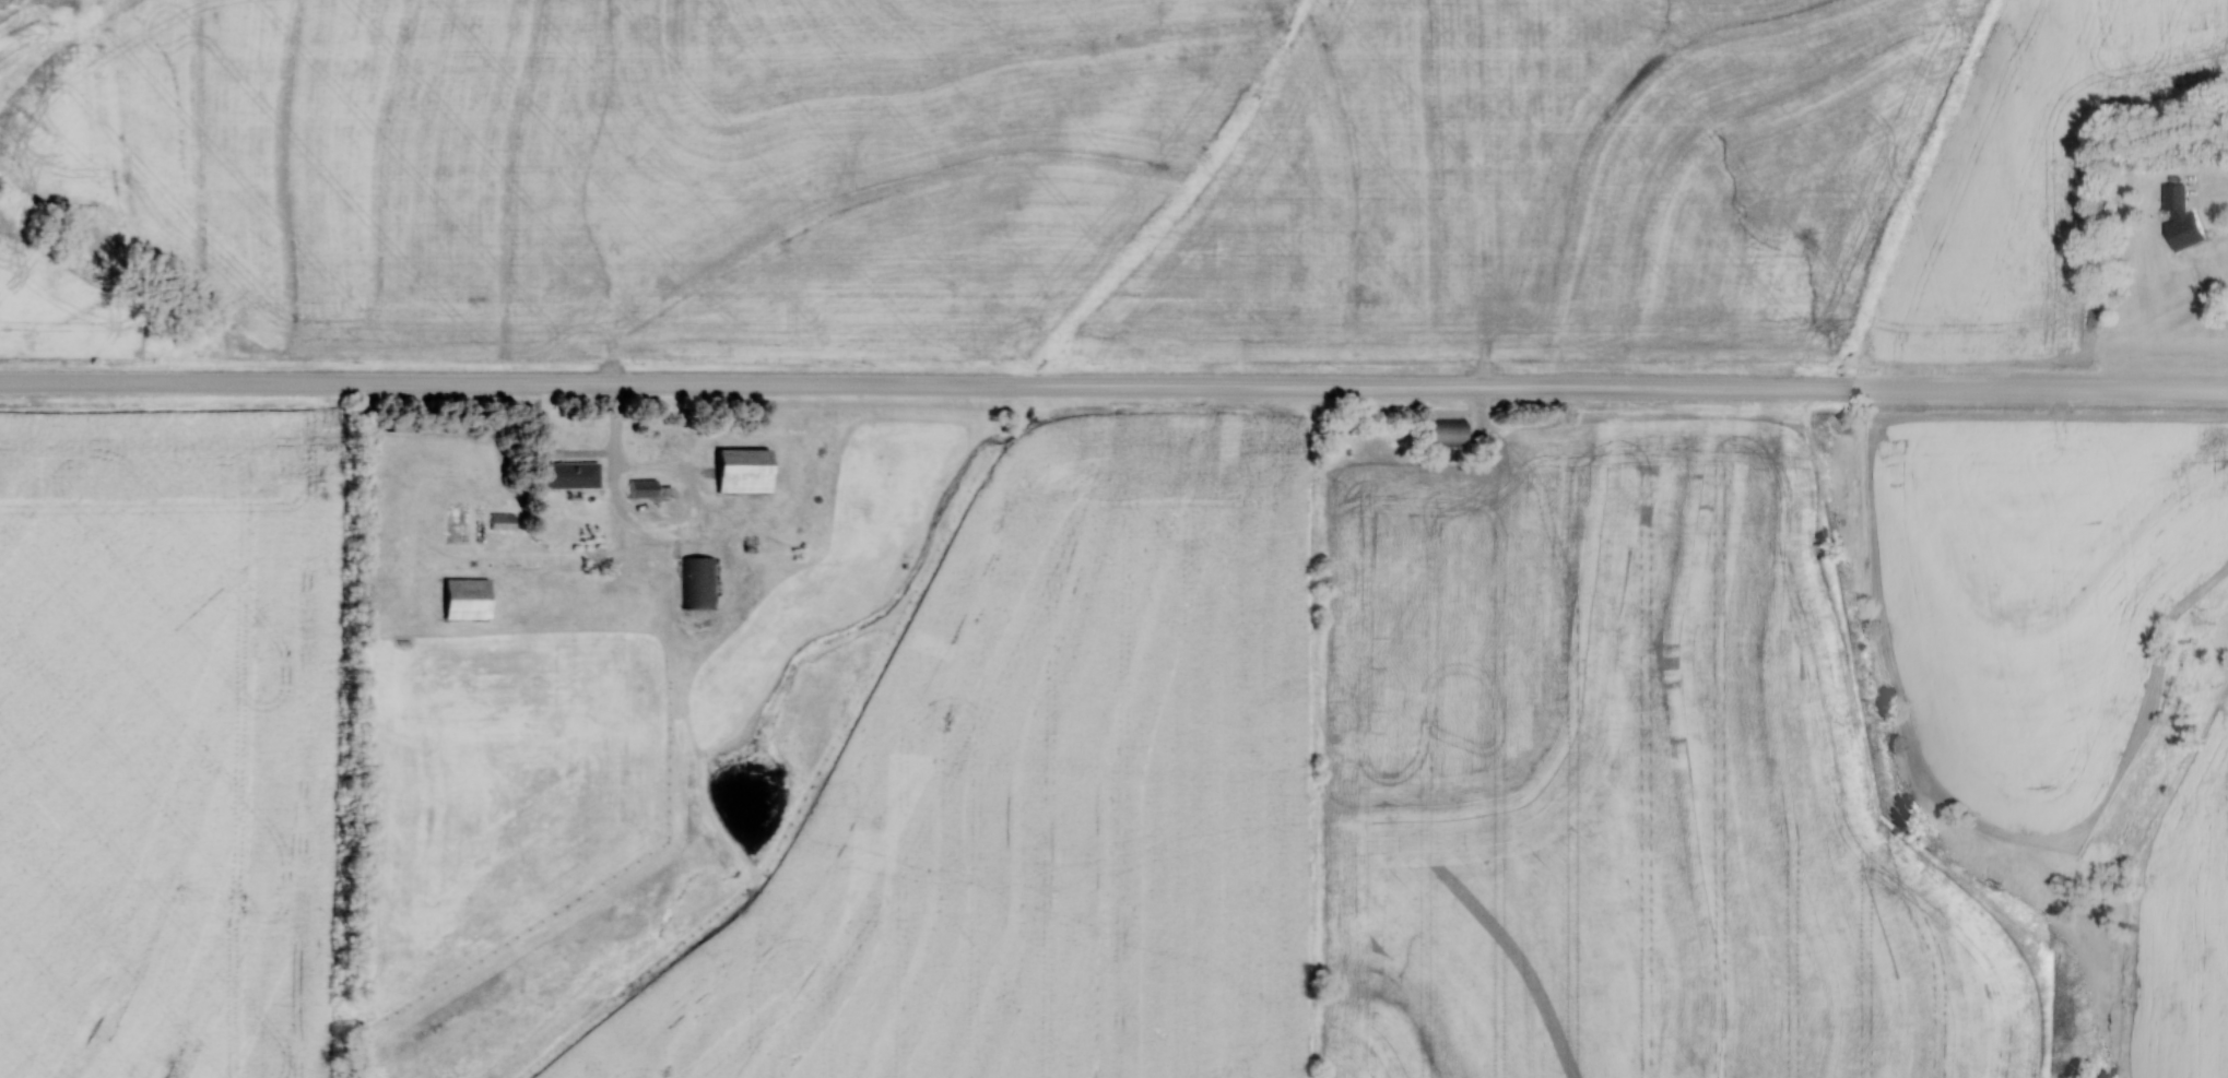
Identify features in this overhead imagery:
building: (2177, 217)
road: (1113, 387)
building: (1451, 433)
building: (748, 470)
building: (573, 474)
building: (649, 488)
building: (507, 518)
building: (697, 580)
building: (470, 597)

